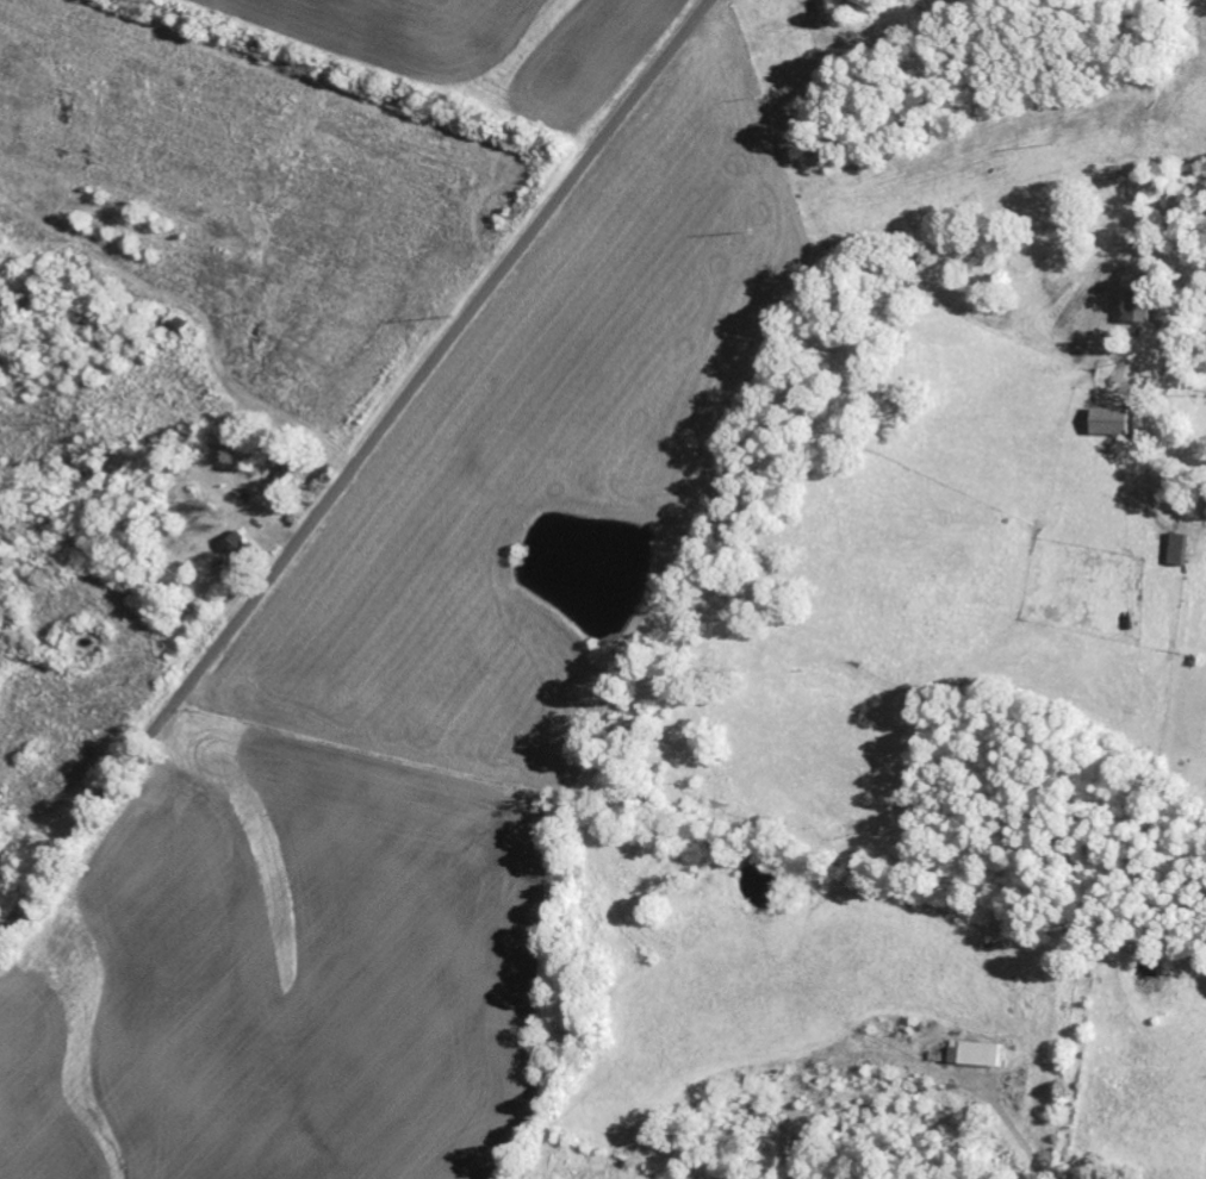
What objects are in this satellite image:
building: (1143, 305)
building: (1112, 422)
road: (350, 466)
building: (238, 545)
building: (975, 1054)

